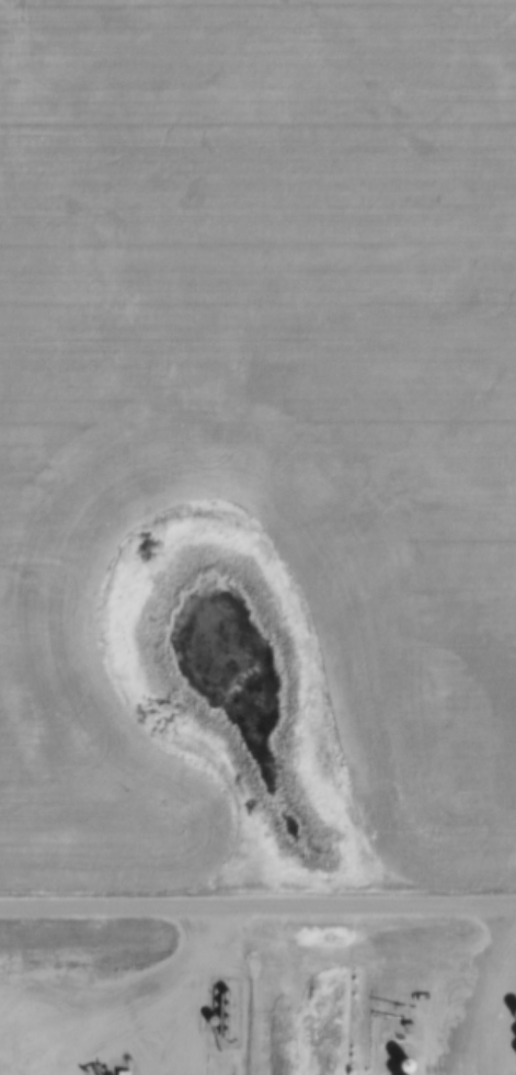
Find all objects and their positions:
road: (257, 912)
road: (502, 1040)

